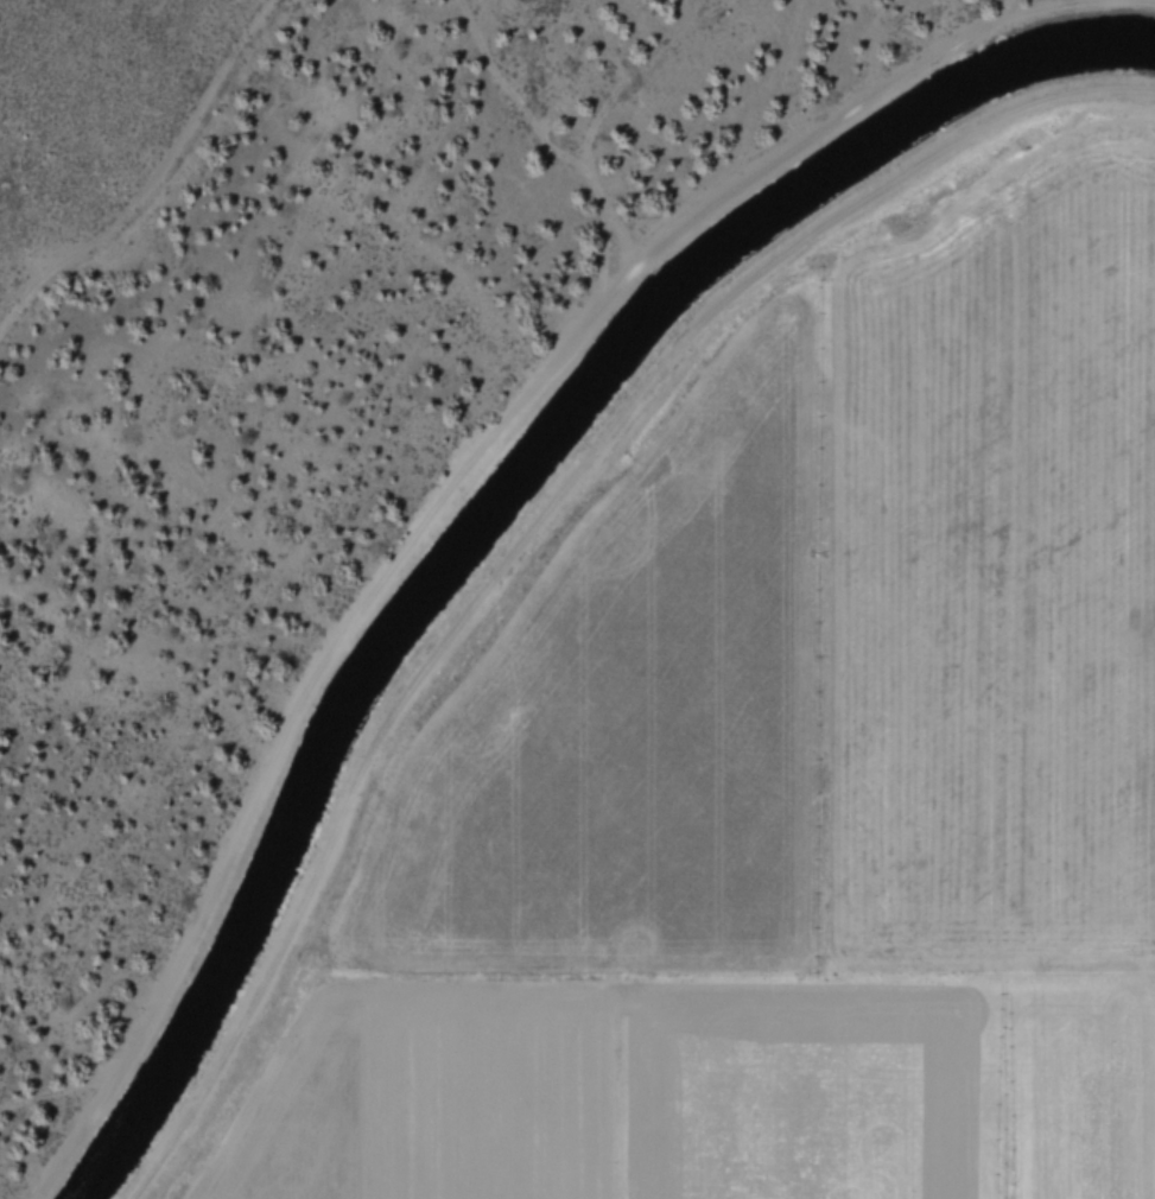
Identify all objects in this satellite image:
road: (538, 531)
crop: (736, 712)

